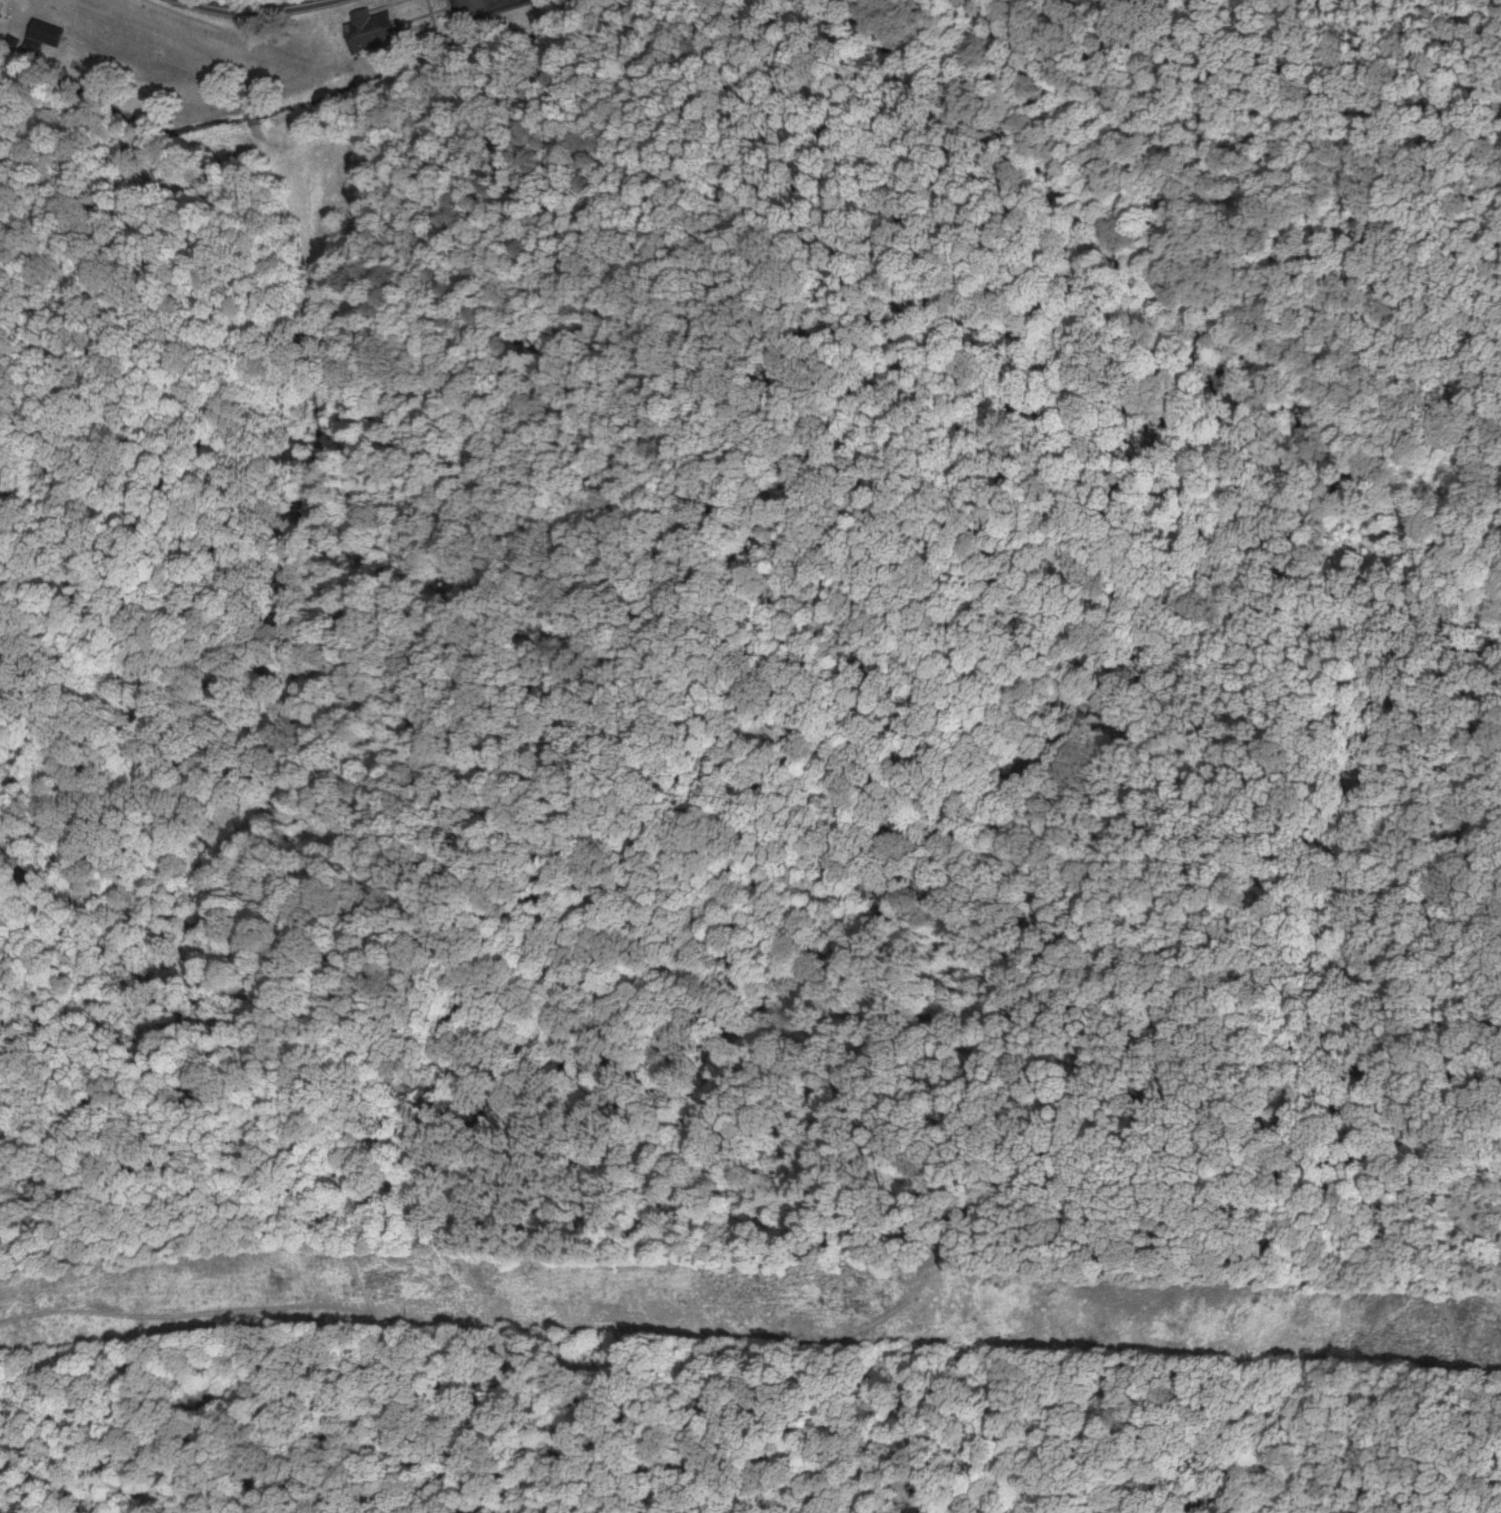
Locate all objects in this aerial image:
road: (277, 6)
parking lot: (471, 7)
road: (157, 26)
building: (369, 30)
building: (44, 31)
road: (375, 67)
road: (865, 513)
road: (413, 975)
road: (1082, 1191)
road: (336, 1192)
road: (1346, 1203)
road: (191, 1311)
road: (348, 1403)
road: (541, 1418)

